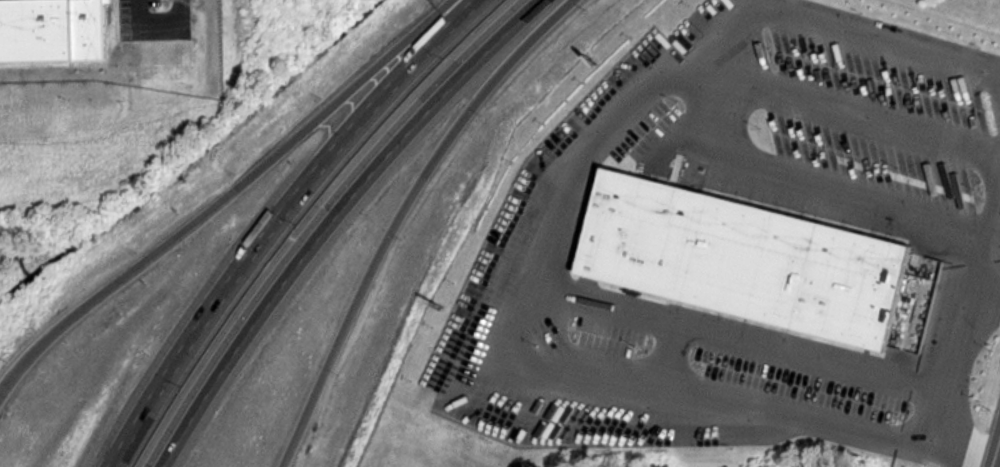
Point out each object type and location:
building: (52, 30)
road: (726, 31)
road: (884, 35)
road: (997, 67)
road: (862, 118)
road: (571, 164)
road: (222, 195)
road: (992, 208)
road: (397, 215)
road: (274, 219)
road: (324, 219)
building: (744, 258)
road: (946, 381)
road: (996, 452)

